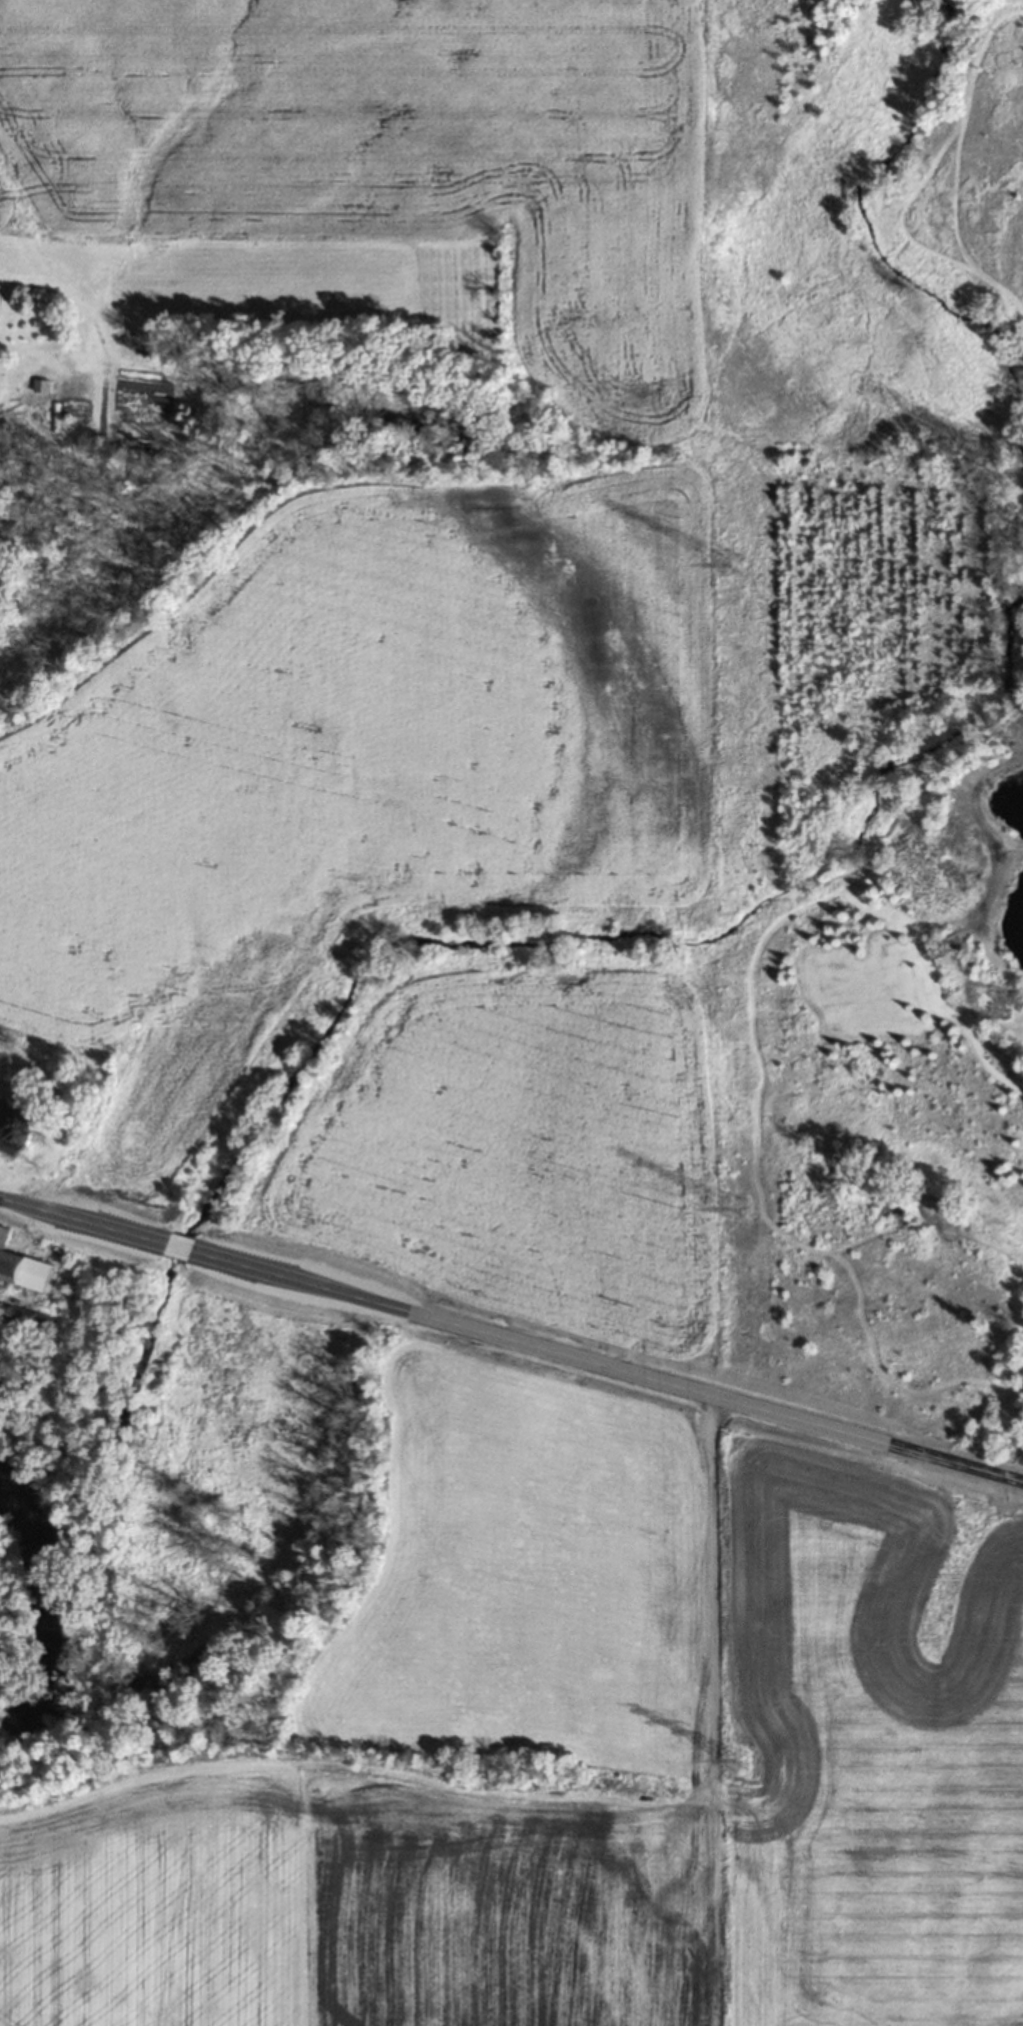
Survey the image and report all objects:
power tower: (731, 563)
building: (18, 1122)
power tower: (735, 1206)
building: (0, 1228)
building: (23, 1270)
building: (27, 1317)
road: (511, 1340)
building: (3, 1375)
river: (41, 1636)
power tower: (738, 1761)

